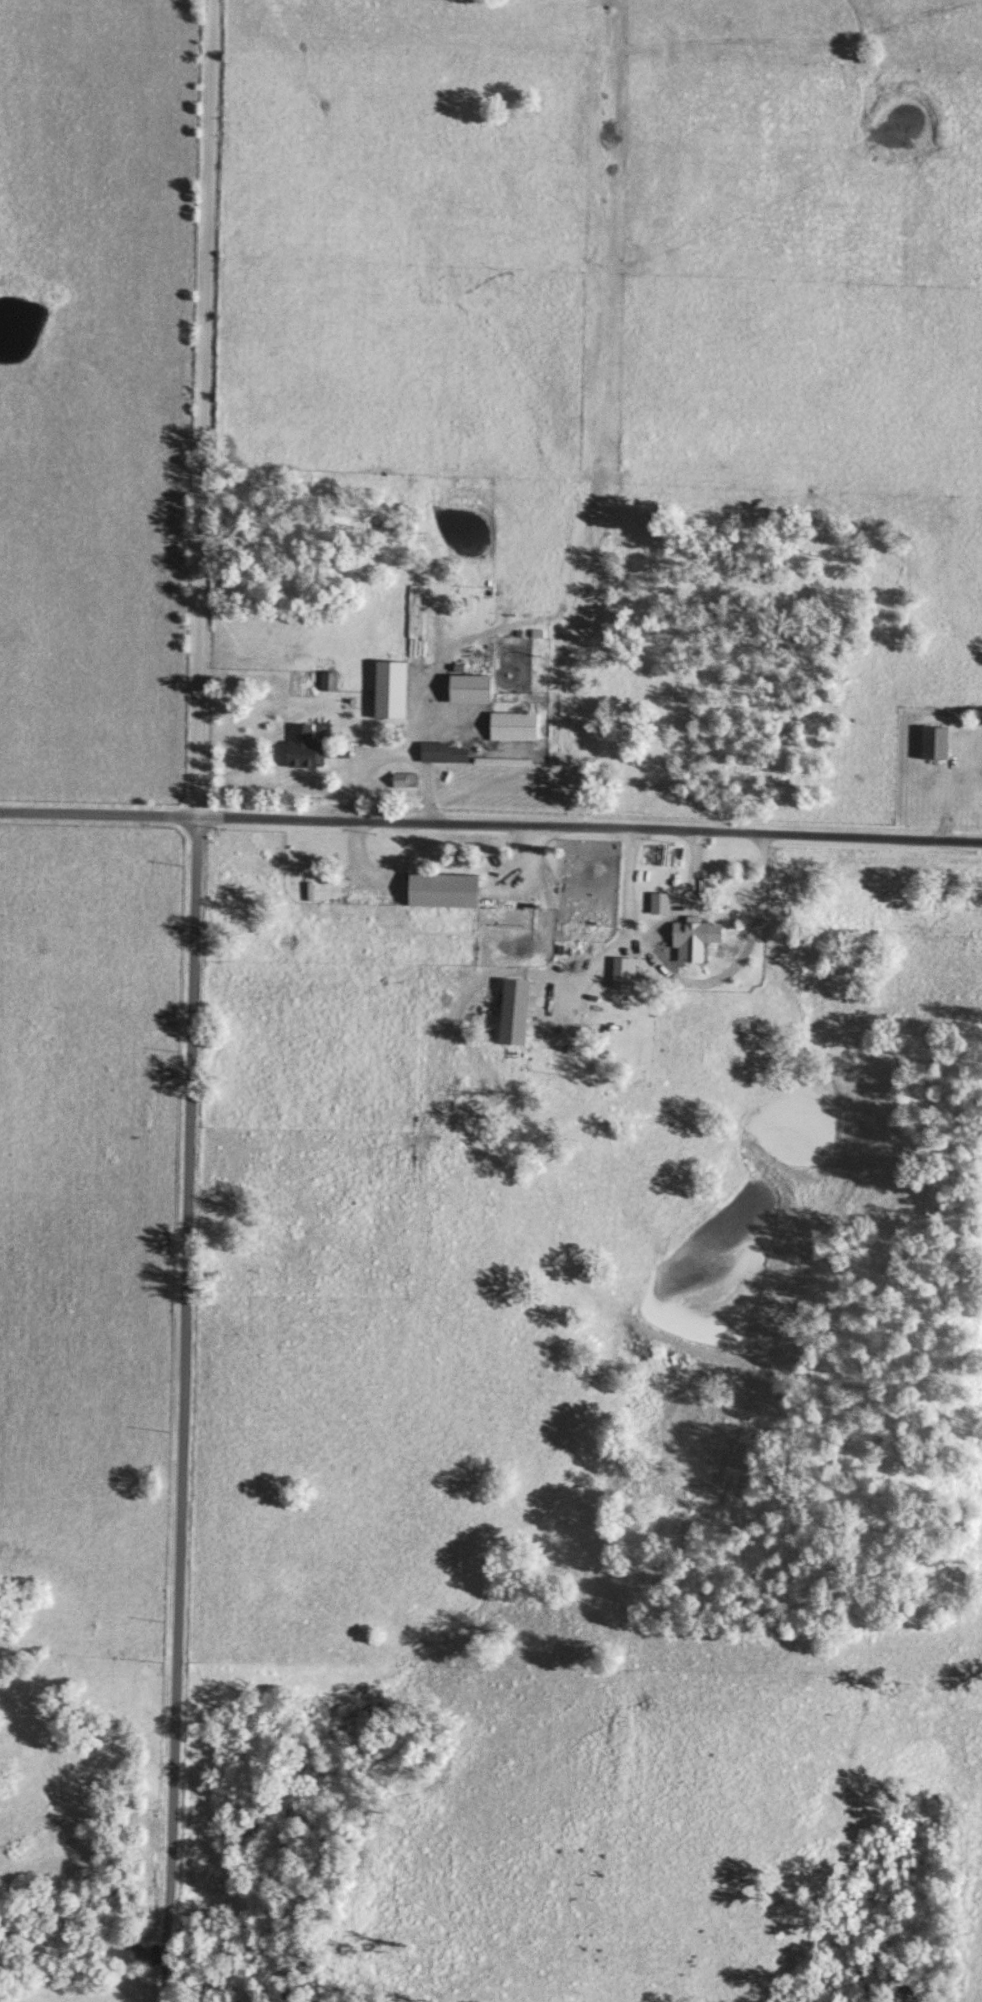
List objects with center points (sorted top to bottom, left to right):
building: (328, 680)
building: (472, 687)
building: (392, 688)
building: (514, 725)
building: (937, 741)
building: (306, 746)
building: (446, 751)
road: (389, 752)
building: (406, 778)
road: (491, 825)
building: (660, 901)
road: (621, 937)
building: (692, 938)
building: (571, 949)
road: (735, 964)
building: (625, 971)
road: (193, 1001)

